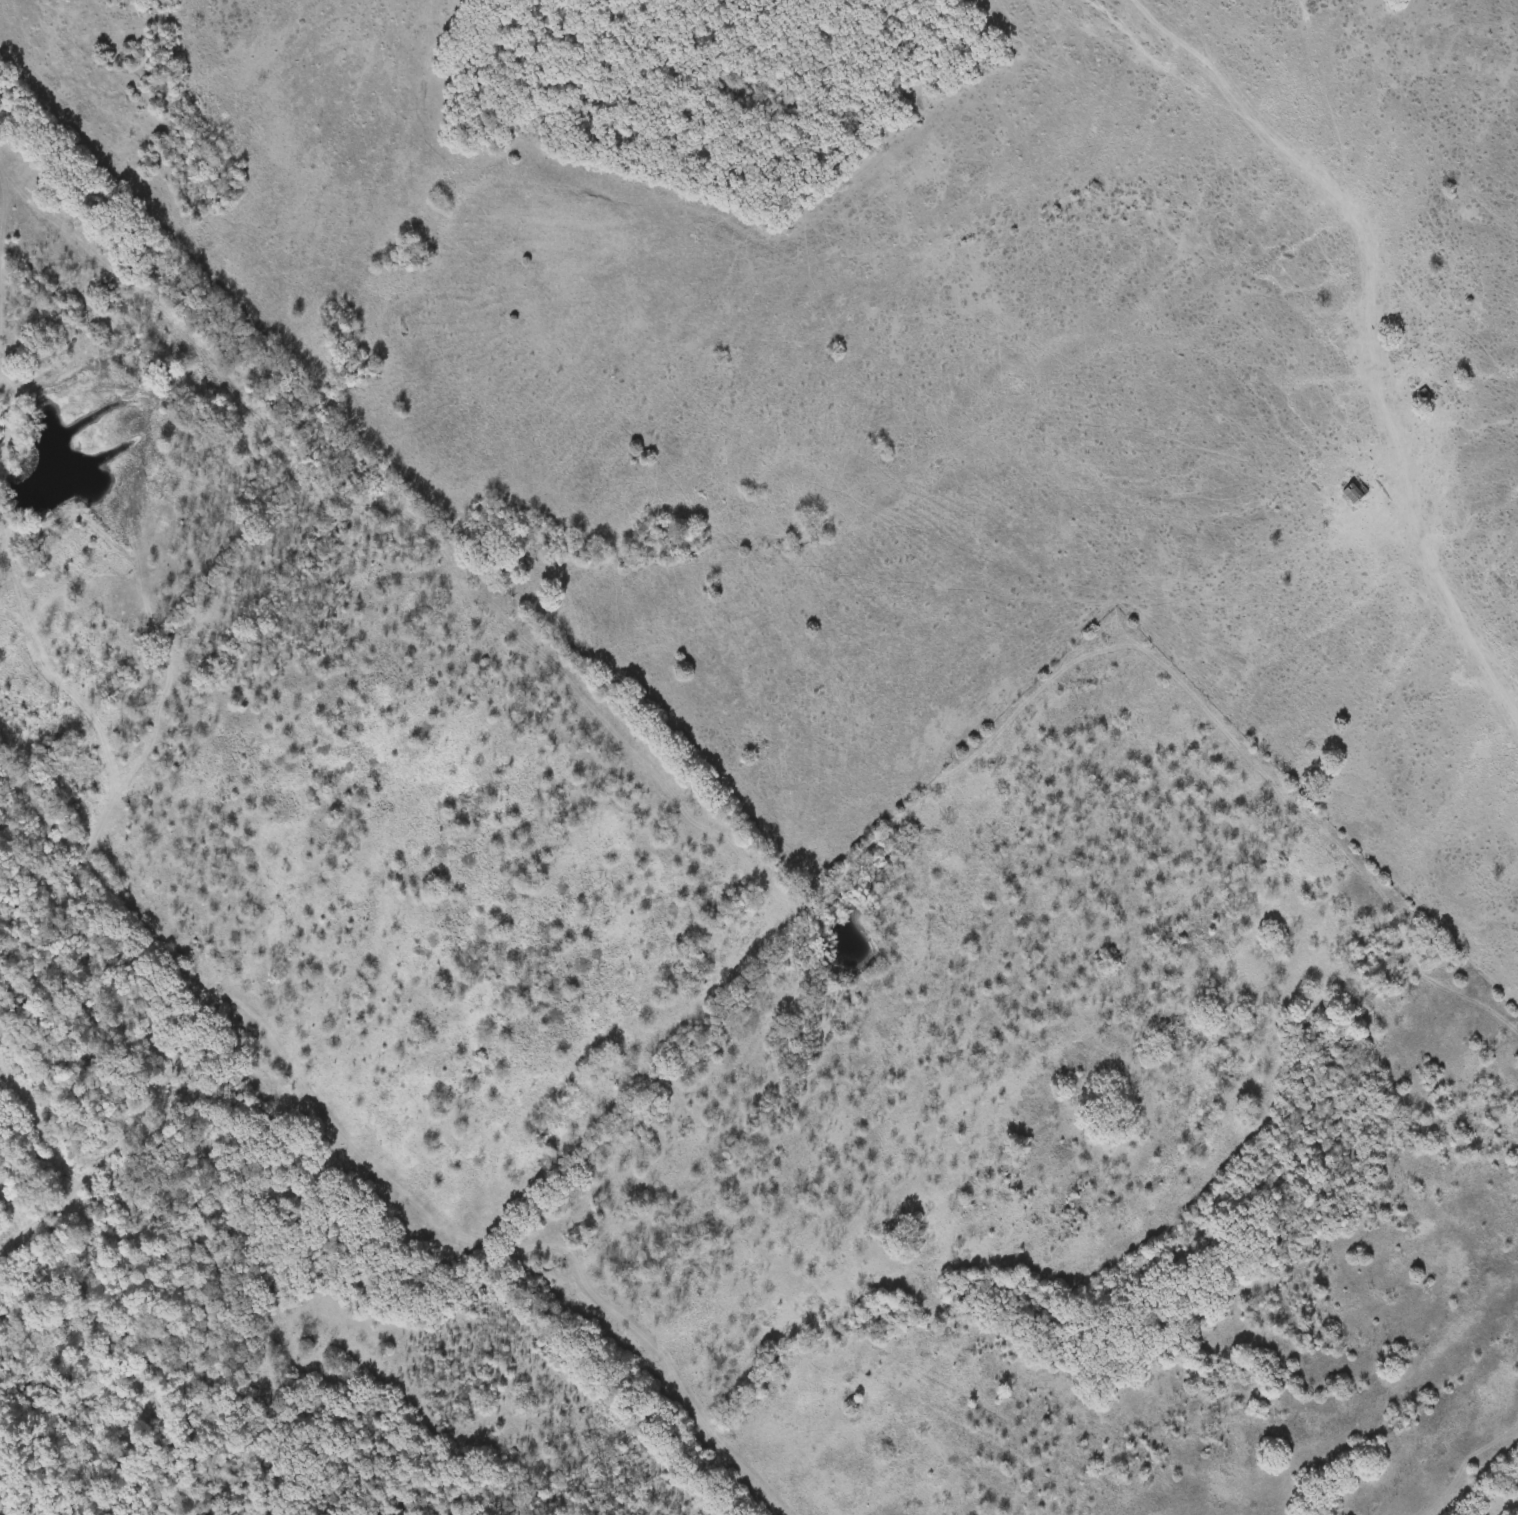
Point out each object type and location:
building: (1351, 493)

